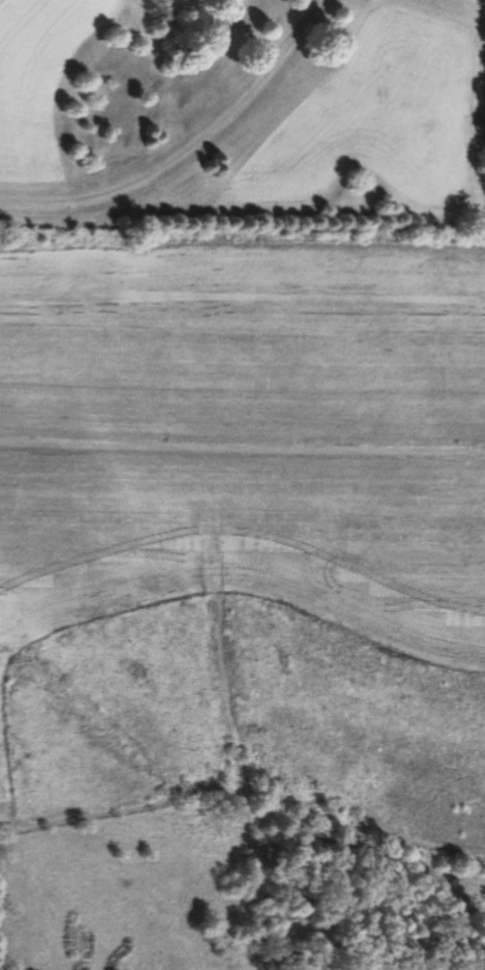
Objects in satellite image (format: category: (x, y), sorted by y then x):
road: (184, 142)

